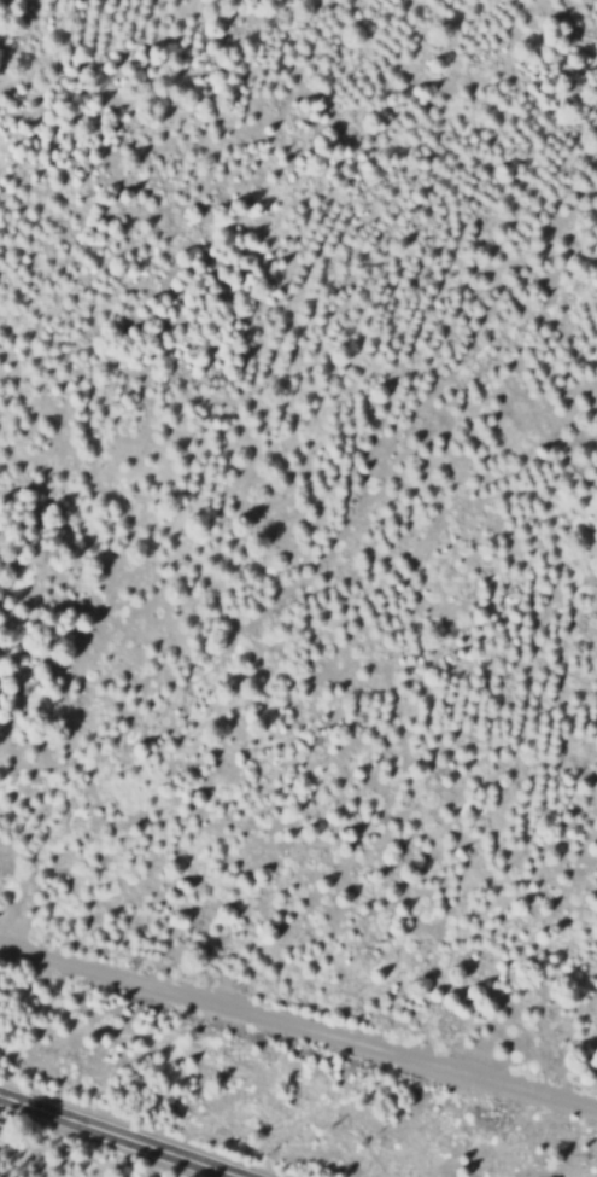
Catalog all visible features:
road: (298, 1021)
road: (125, 1134)

